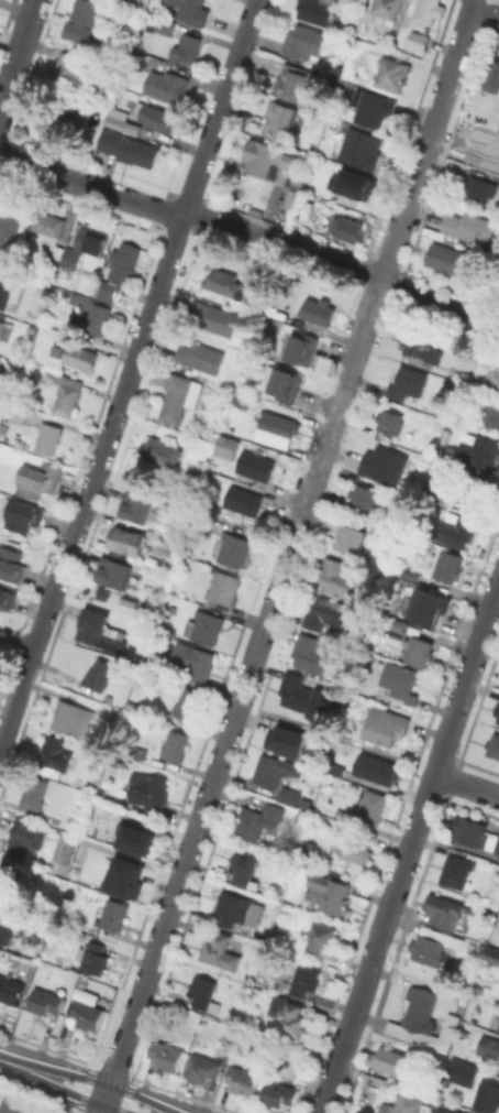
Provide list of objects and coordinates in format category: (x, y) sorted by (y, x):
building: (134, 1)
road: (495, 3)
road: (254, 4)
building: (382, 8)
building: (317, 10)
building: (191, 11)
building: (426, 11)
building: (82, 20)
building: (164, 24)
road: (24, 33)
building: (302, 40)
building: (419, 40)
building: (186, 47)
road: (235, 62)
building: (71, 70)
building: (391, 73)
building: (492, 75)
building: (293, 84)
building: (166, 85)
road: (7, 86)
building: (372, 107)
building: (142, 116)
building: (49, 119)
building: (285, 119)
road: (429, 141)
building: (129, 146)
building: (361, 148)
building: (481, 149)
building: (262, 159)
road: (200, 164)
building: (295, 179)
building: (351, 183)
road: (90, 186)
building: (480, 187)
building: (288, 197)
building: (10, 217)
building: (47, 223)
building: (347, 228)
building: (468, 228)
road: (284, 242)
building: (85, 245)
building: (444, 257)
building: (119, 270)
building: (230, 284)
building: (9, 292)
road: (440, 306)
building: (318, 310)
building: (214, 317)
building: (96, 319)
building: (2, 329)
road: (138, 342)
building: (417, 345)
building: (302, 349)
building: (59, 350)
building: (80, 356)
building: (200, 357)
building: (492, 375)
building: (407, 382)
building: (282, 383)
building: (65, 392)
building: (178, 396)
road: (341, 404)
building: (18, 412)
building: (492, 414)
building: (389, 423)
building: (277, 428)
building: (48, 437)
building: (228, 445)
building: (162, 451)
building: (477, 451)
building: (384, 463)
building: (254, 465)
building: (41, 480)
building: (474, 488)
building: (434, 492)
building: (364, 497)
building: (243, 500)
building: (138, 508)
building: (24, 516)
building: (202, 520)
building: (393, 522)
building: (456, 530)
building: (351, 537)
building: (129, 542)
building: (233, 548)
building: (11, 565)
building: (448, 565)
road: (285, 568)
building: (114, 574)
building: (335, 576)
building: (408, 577)
building: (223, 587)
building: (102, 592)
building: (8, 600)
building: (428, 607)
road: (46, 610)
building: (323, 612)
building: (401, 625)
building: (207, 626)
building: (99, 630)
road: (262, 635)
road: (15, 650)
building: (420, 651)
building: (309, 654)
building: (198, 663)
building: (99, 673)
building: (400, 681)
building: (302, 696)
building: (187, 705)
building: (497, 709)
building: (71, 718)
building: (498, 720)
building: (384, 724)
road: (337, 738)
building: (289, 740)
building: (174, 745)
building: (494, 745)
building: (55, 752)
building: (277, 767)
building: (339, 770)
building: (381, 770)
road: (467, 782)
building: (149, 790)
building: (33, 794)
building: (289, 795)
building: (369, 808)
building: (301, 816)
building: (259, 820)
road: (197, 826)
building: (470, 830)
building: (312, 832)
building: (24, 837)
building: (129, 840)
building: (497, 845)
road: (410, 847)
building: (65, 848)
building: (355, 850)
building: (303, 851)
building: (243, 868)
building: (457, 870)
building: (115, 875)
building: (7, 876)
building: (329, 892)
building: (234, 909)
building: (445, 909)
building: (113, 914)
building: (7, 925)
building: (498, 934)
building: (320, 938)
building: (433, 946)
building: (220, 950)
building: (93, 958)
building: (491, 958)
building: (302, 981)
building: (78, 986)
building: (10, 989)
building: (203, 993)
building: (45, 1001)
building: (87, 1014)
building: (289, 1017)
building: (423, 1021)
building: (498, 1028)
road: (123, 1044)
building: (489, 1046)
building: (167, 1055)
building: (389, 1060)
building: (203, 1067)
building: (242, 1079)
building: (477, 1082)
road: (78, 1087)
building: (408, 1090)
building: (279, 1093)
building: (408, 1103)
road: (103, 1104)
building: (18, 1109)
building: (444, 1110)

